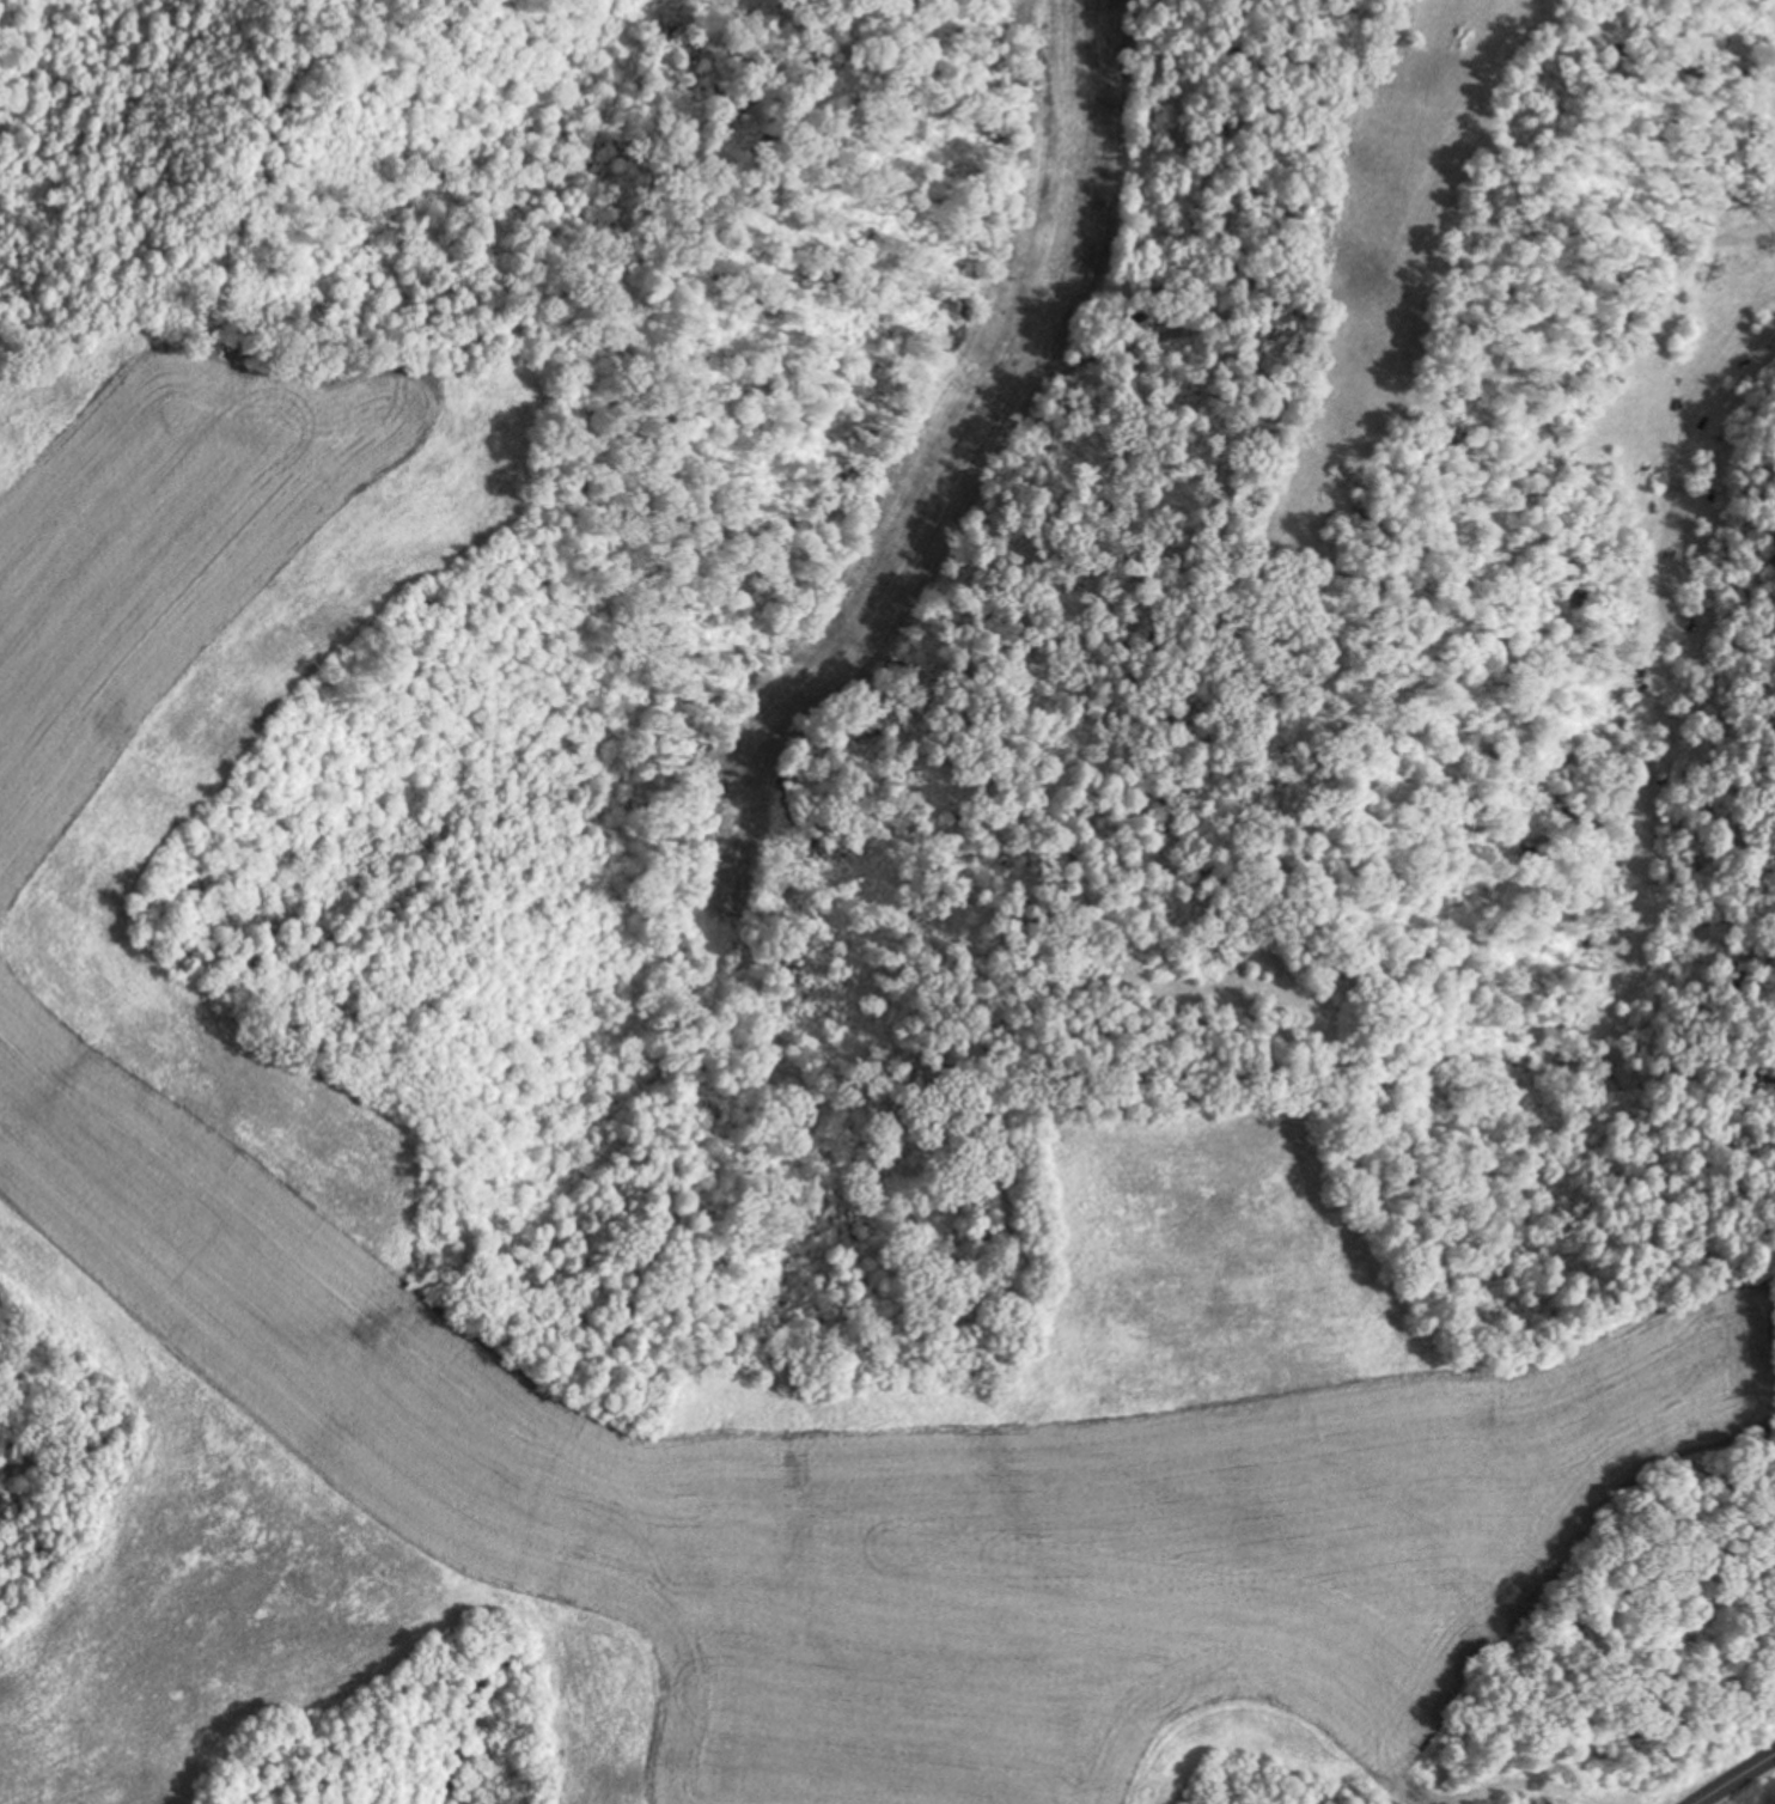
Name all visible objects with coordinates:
crop: (1768, 78)
crop: (1398, 240)
crop: (75, 995)
road: (1739, 1779)

